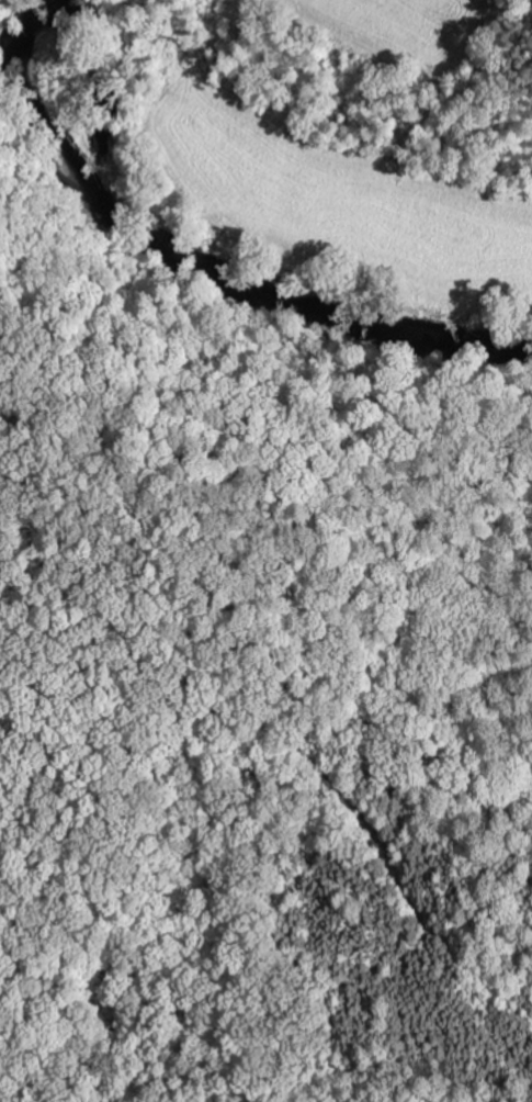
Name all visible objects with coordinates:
road: (507, 25)
road: (283, 800)

